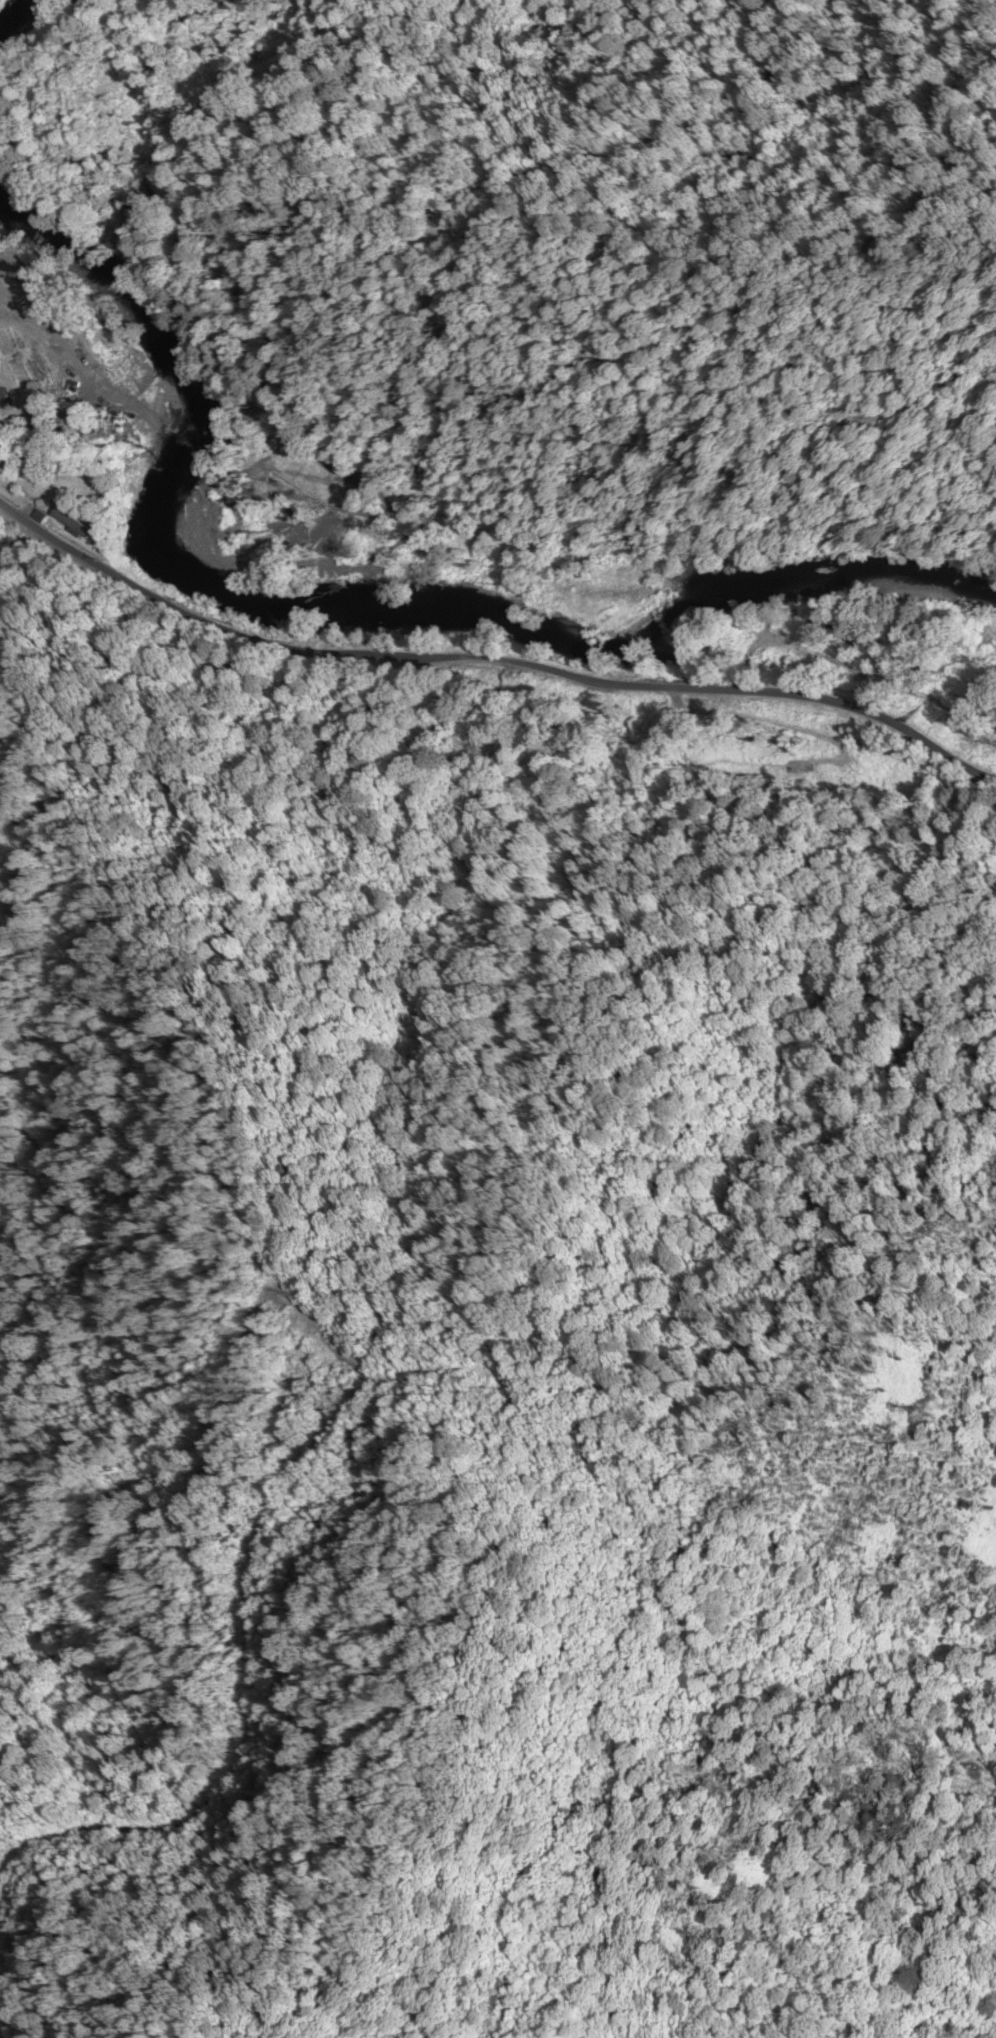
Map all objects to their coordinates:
river: (15, 16)
building: (33, 483)
building: (72, 524)
river: (342, 604)
road: (487, 660)

